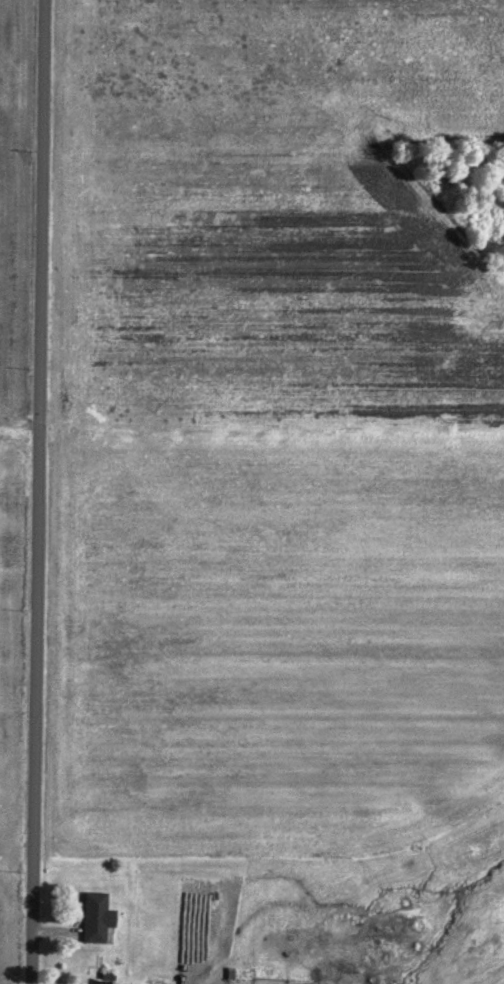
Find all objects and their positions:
road: (38, 492)
building: (90, 921)

